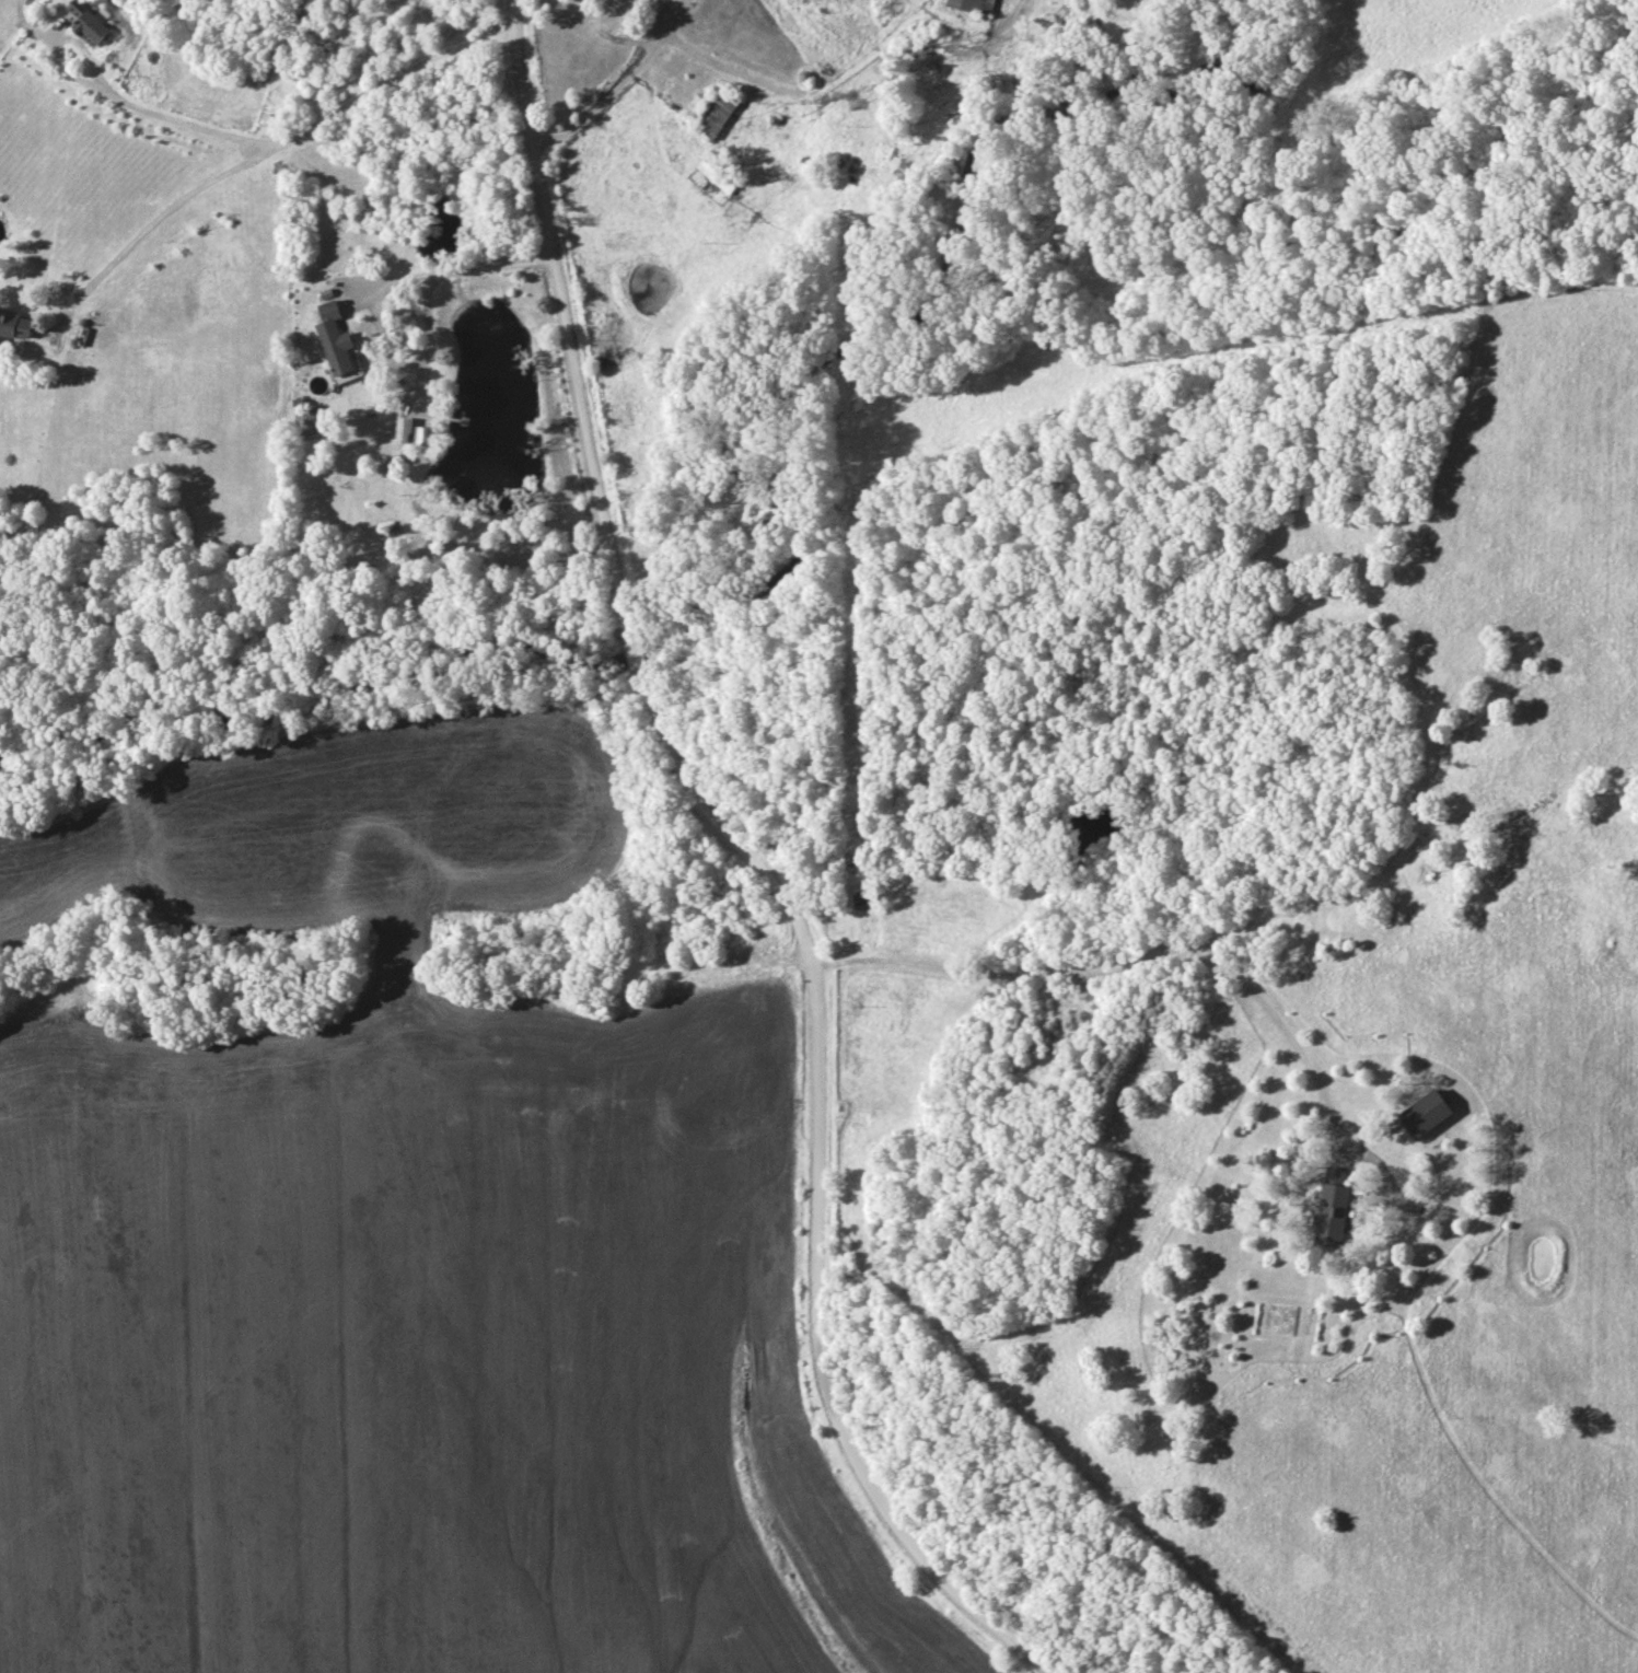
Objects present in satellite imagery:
building: (975, 5)
building: (92, 27)
road: (651, 53)
building: (718, 112)
road: (166, 120)
road: (269, 151)
building: (720, 174)
road: (466, 269)
building: (16, 325)
building: (336, 338)
road: (754, 863)
building: (867, 899)
road: (1128, 964)
building: (1427, 1114)
building: (1334, 1208)

